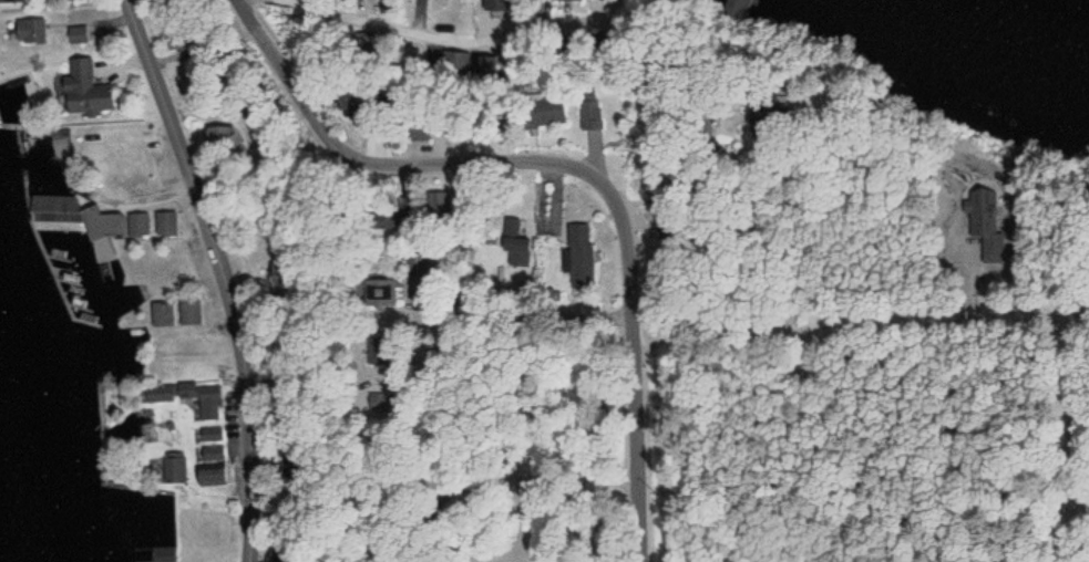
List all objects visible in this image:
building: (29, 31)
building: (459, 62)
road: (567, 64)
building: (84, 91)
building: (342, 96)
building: (543, 110)
building: (586, 110)
building: (413, 128)
road: (574, 167)
building: (384, 220)
building: (985, 223)
building: (516, 237)
building: (102, 248)
building: (578, 254)
road: (227, 273)
building: (381, 294)
road: (542, 320)
road: (736, 396)
building: (209, 404)
building: (210, 434)
road: (838, 445)
building: (213, 452)
road: (418, 465)
building: (174, 467)
road: (544, 473)
building: (210, 476)

